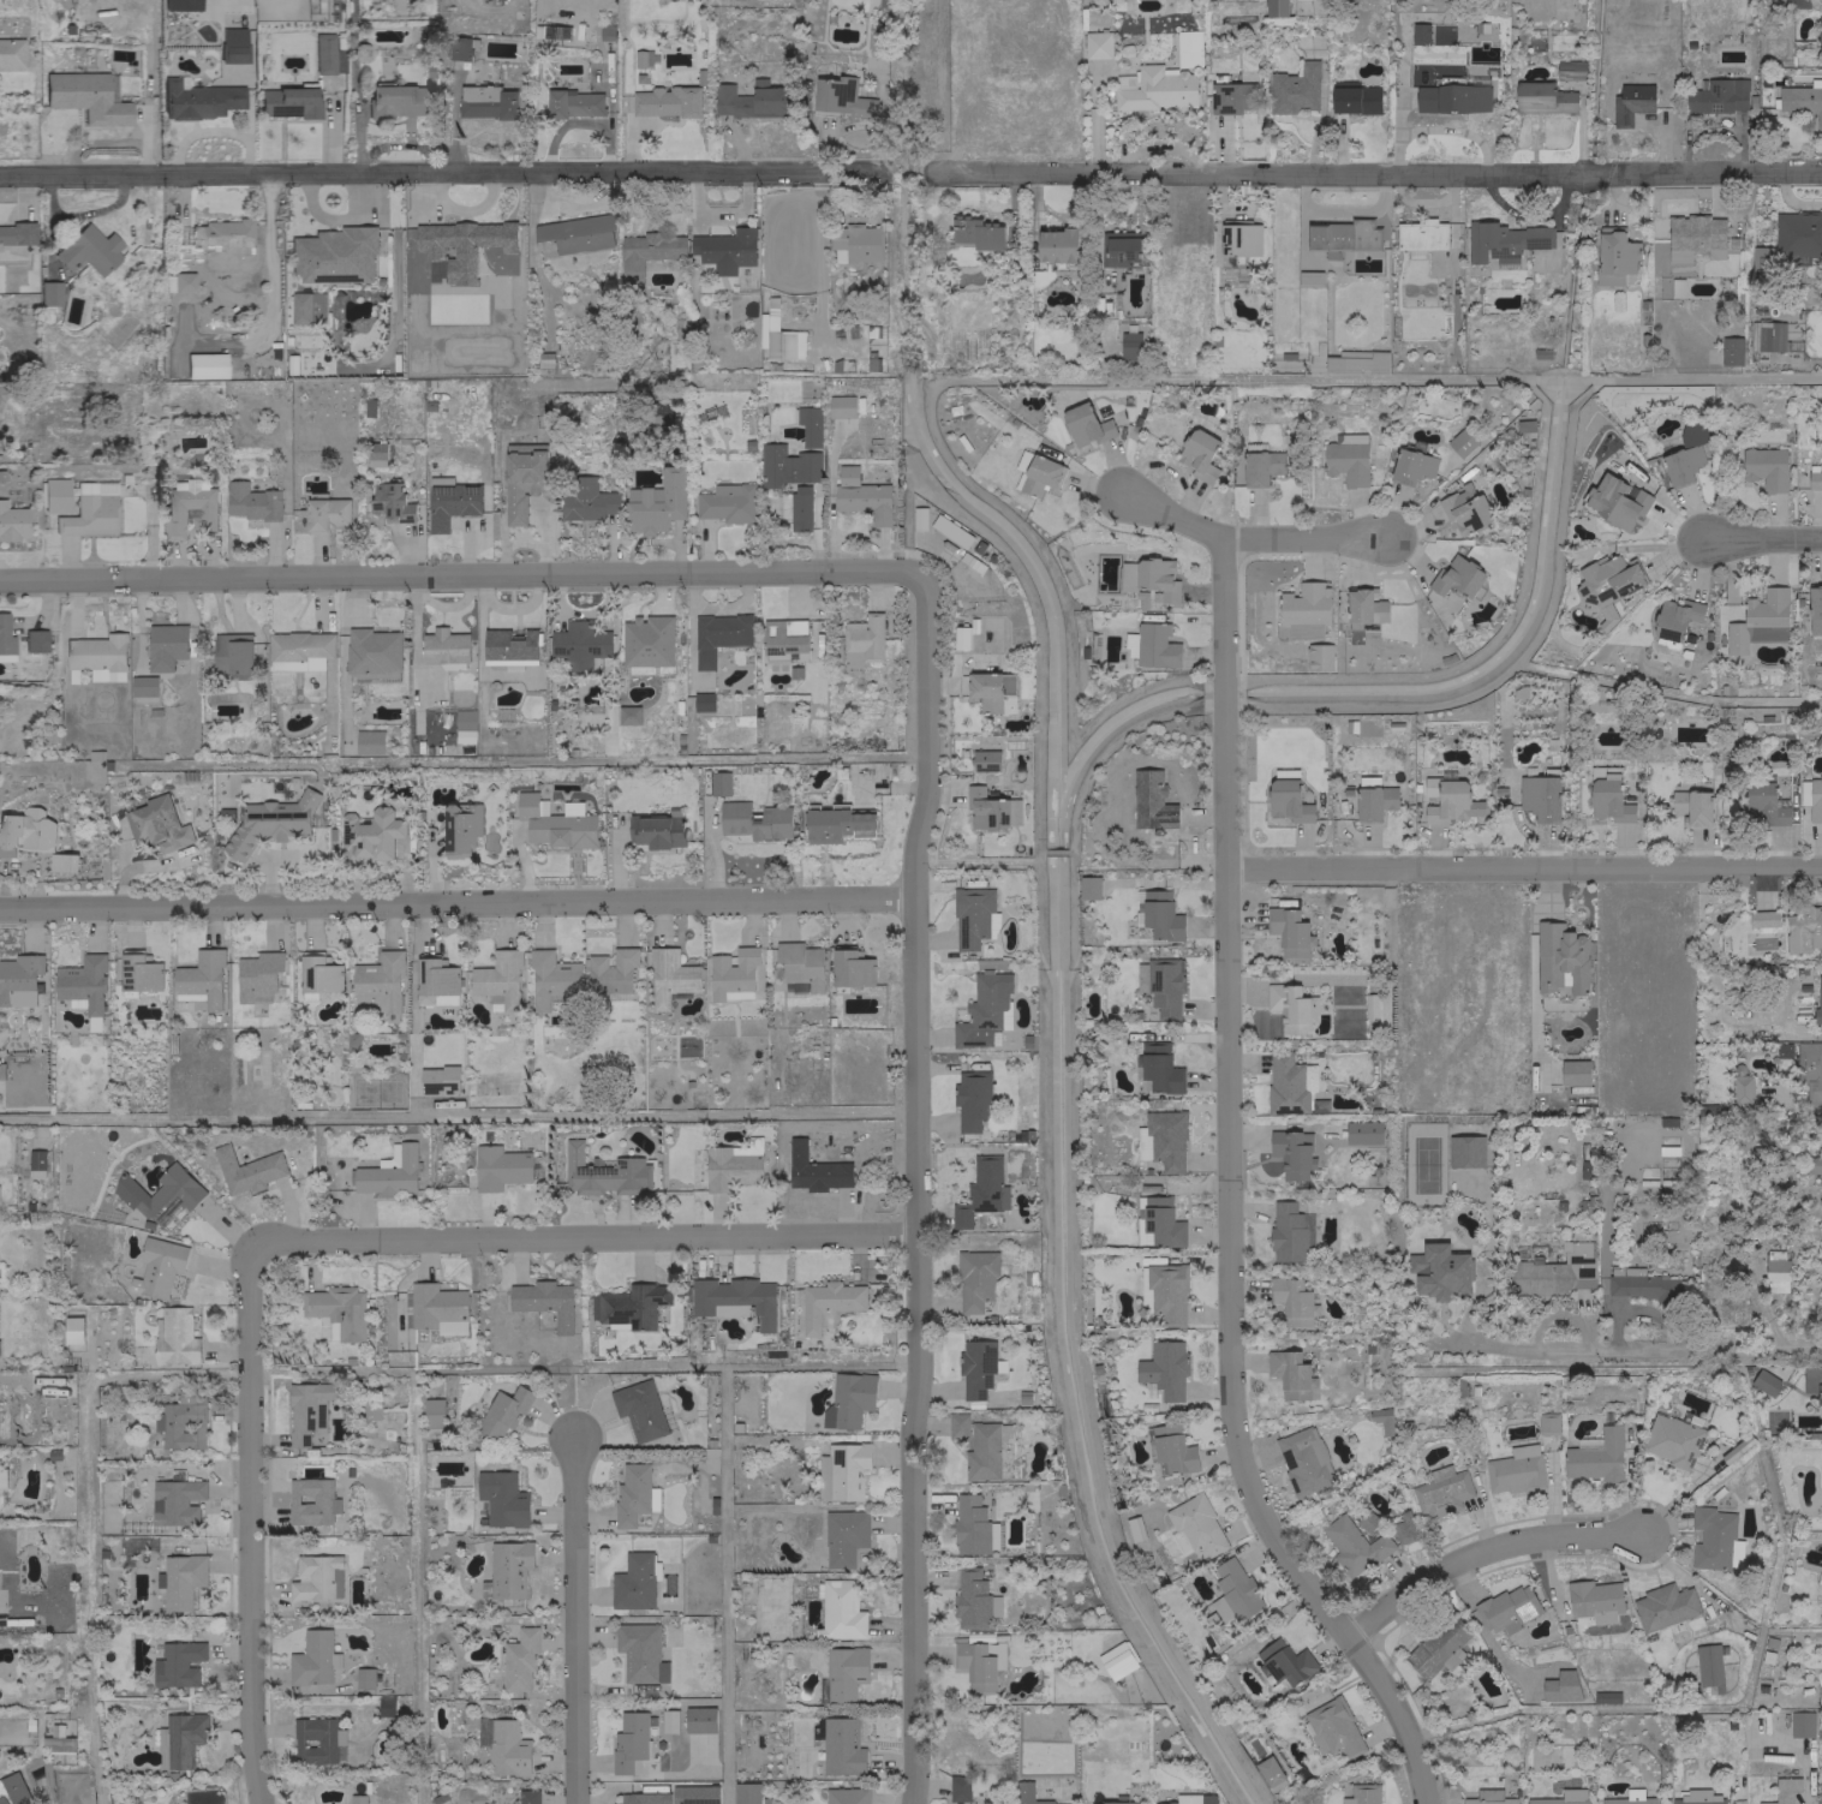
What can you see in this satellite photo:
building: (1212, 0)
building: (1798, 4)
building: (180, 5)
building: (1274, 7)
building: (1818, 29)
building: (232, 44)
building: (1097, 44)
building: (459, 48)
building: (11, 53)
building: (327, 54)
building: (644, 58)
building: (1569, 68)
building: (1294, 89)
building: (1157, 90)
building: (86, 96)
building: (1718, 96)
building: (840, 97)
building: (1231, 97)
building: (1354, 97)
building: (1451, 97)
building: (1542, 97)
building: (198, 98)
building: (398, 100)
building: (752, 100)
building: (665, 101)
building: (1800, 101)
building: (287, 102)
building: (486, 102)
building: (1630, 102)
building: (572, 103)
road: (1370, 172)
road: (444, 173)
building: (975, 232)
building: (17, 233)
building: (577, 233)
building: (220, 234)
building: (465, 235)
building: (1343, 235)
building: (1420, 237)
building: (1695, 237)
building: (1239, 238)
building: (1794, 238)
building: (1503, 240)
building: (854, 243)
building: (1057, 245)
building: (1121, 249)
building: (89, 250)
building: (724, 250)
building: (647, 251)
building: (1615, 251)
building: (334, 255)
building: (1309, 277)
building: (183, 281)
building: (49, 292)
building: (306, 307)
building: (778, 335)
building: (1766, 335)
building: (1129, 346)
building: (1731, 350)
building: (840, 406)
building: (1085, 424)
building: (807, 425)
building: (1460, 442)
building: (376, 453)
building: (1197, 454)
building: (1346, 459)
building: (1022, 460)
building: (1681, 464)
building: (785, 465)
building: (1411, 466)
building: (1261, 467)
building: (1763, 467)
building: (1040, 476)
building: (1815, 476)
building: (521, 478)
building: (55, 494)
building: (861, 495)
building: (250, 501)
building: (587, 501)
building: (1615, 501)
building: (390, 502)
building: (656, 502)
building: (727, 502)
building: (449, 503)
building: (800, 508)
building: (1464, 509)
building: (189, 510)
building: (324, 512)
building: (89, 515)
building: (12, 522)
building: (950, 531)
road: (1249, 536)
road: (1764, 536)
road: (464, 573)
building: (1146, 574)
building: (1611, 574)
building: (1456, 577)
building: (1364, 607)
building: (1304, 609)
building: (1815, 609)
building: (1673, 620)
building: (1758, 621)
building: (718, 635)
building: (960, 637)
building: (5, 639)
building: (34, 640)
building: (646, 640)
building: (784, 640)
building: (862, 640)
building: (579, 644)
building: (1130, 644)
building: (165, 645)
building: (444, 646)
building: (1155, 646)
building: (301, 647)
building: (509, 649)
building: (231, 652)
building: (372, 655)
building: (1319, 657)
building: (143, 686)
building: (991, 691)
building: (701, 701)
building: (628, 715)
building: (464, 718)
building: (369, 741)
building: (718, 783)
building: (1607, 794)
building: (1539, 796)
building: (1811, 798)
building: (1288, 800)
building: (1448, 800)
building: (1151, 801)
building: (1373, 802)
building: (1763, 804)
building: (1691, 806)
building: (990, 810)
building: (754, 820)
building: (269, 823)
building: (555, 823)
building: (836, 823)
building: (156, 824)
building: (460, 828)
building: (657, 829)
building: (26, 830)
building: (370, 834)
building: (62, 862)
road: (1524, 866)
building: (1088, 886)
road: (458, 902)
building: (1160, 915)
building: (973, 916)
building: (1762, 918)
building: (1803, 931)
building: (1289, 932)
building: (1560, 958)
building: (799, 966)
building: (850, 968)
building: (610, 972)
building: (138, 974)
building: (731, 974)
building: (318, 975)
building: (257, 976)
building: (669, 976)
building: (1140, 976)
building: (497, 978)
building: (18, 979)
building: (199, 979)
building: (434, 979)
building: (551, 979)
building: (82, 982)
building: (377, 982)
building: (1164, 986)
building: (1817, 1002)
building: (1290, 1008)
building: (984, 1010)
building: (1158, 1068)
building: (1810, 1070)
building: (1573, 1073)
building: (438, 1080)
building: (1289, 1087)
building: (1740, 1089)
building: (970, 1099)
building: (1362, 1131)
building: (1161, 1140)
building: (1464, 1151)
building: (1291, 1153)
building: (36, 1163)
building: (731, 1165)
building: (500, 1167)
building: (246, 1170)
building: (813, 1170)
building: (602, 1172)
building: (389, 1173)
road: (915, 1184)
building: (980, 1191)
building: (1820, 1193)
building: (161, 1194)
road: (1230, 1196)
building: (1160, 1221)
building: (1289, 1231)
road: (583, 1235)
building: (157, 1267)
building: (1775, 1270)
building: (1439, 1271)
building: (1555, 1272)
building: (974, 1279)
building: (1643, 1284)
building: (1166, 1291)
building: (734, 1300)
building: (544, 1301)
building: (1291, 1301)
building: (828, 1302)
building: (628, 1304)
building: (437, 1308)
building: (336, 1310)
building: (72, 1330)
building: (175, 1338)
road: (1621, 1349)
building: (978, 1368)
building: (1164, 1368)
building: (1288, 1373)
building: (1763, 1381)
building: (1812, 1381)
building: (847, 1400)
building: (370, 1408)
building: (306, 1410)
building: (639, 1410)
building: (502, 1411)
building: (432, 1412)
building: (1382, 1420)
building: (181, 1422)
building: (1547, 1423)
building: (1671, 1440)
building: (979, 1444)
building: (1172, 1451)
building: (1595, 1456)
building: (1303, 1460)
building: (842, 1470)
building: (1515, 1470)
building: (2, 1479)
building: (1821, 1486)
building: (1440, 1492)
building: (633, 1494)
building: (501, 1499)
building: (705, 1499)
building: (175, 1501)
building: (310, 1501)
road: (252, 1521)
building: (1194, 1525)
building: (973, 1527)
building: (1403, 1527)
building: (1134, 1528)
building: (843, 1536)
building: (1714, 1539)
building: (1352, 1545)
road: (1482, 1552)
building: (508, 1567)
building: (317, 1577)
building: (181, 1579)
building: (634, 1581)
building: (1233, 1591)
building: (973, 1600)
building: (1593, 1600)
building: (1821, 1603)
building: (1663, 1606)
building: (1506, 1608)
building: (840, 1609)
road: (574, 1621)
building: (1821, 1639)
building: (1439, 1647)
building: (639, 1653)
building: (312, 1659)
building: (519, 1660)
building: (1116, 1660)
building: (1285, 1662)
building: (177, 1663)
building: (975, 1666)
building: (1708, 1667)
building: (843, 1672)
building: (364, 1678)
building: (1560, 1685)
building: (1605, 1697)
building: (386, 1706)
building: (698, 1719)
building: (1800, 1724)
building: (1334, 1727)
building: (56, 1739)
building: (179, 1739)
building: (1314, 1739)
building: (317, 1740)
building: (628, 1742)
building: (841, 1746)
building: (507, 1748)
building: (1268, 1770)
building: (957, 1788)
building: (1785, 1788)
building: (12, 1790)
building: (746, 1793)
building: (1026, 1794)
building: (1361, 1794)
building: (526, 1796)
building: (674, 1796)
building: (847, 1796)
building: (1488, 1797)
building: (1561, 1797)
building: (1697, 1797)
building: (356, 1798)
building: (1629, 1798)
building: (1190, 1799)
building: (1117, 1800)
building: (1069, 1803)

